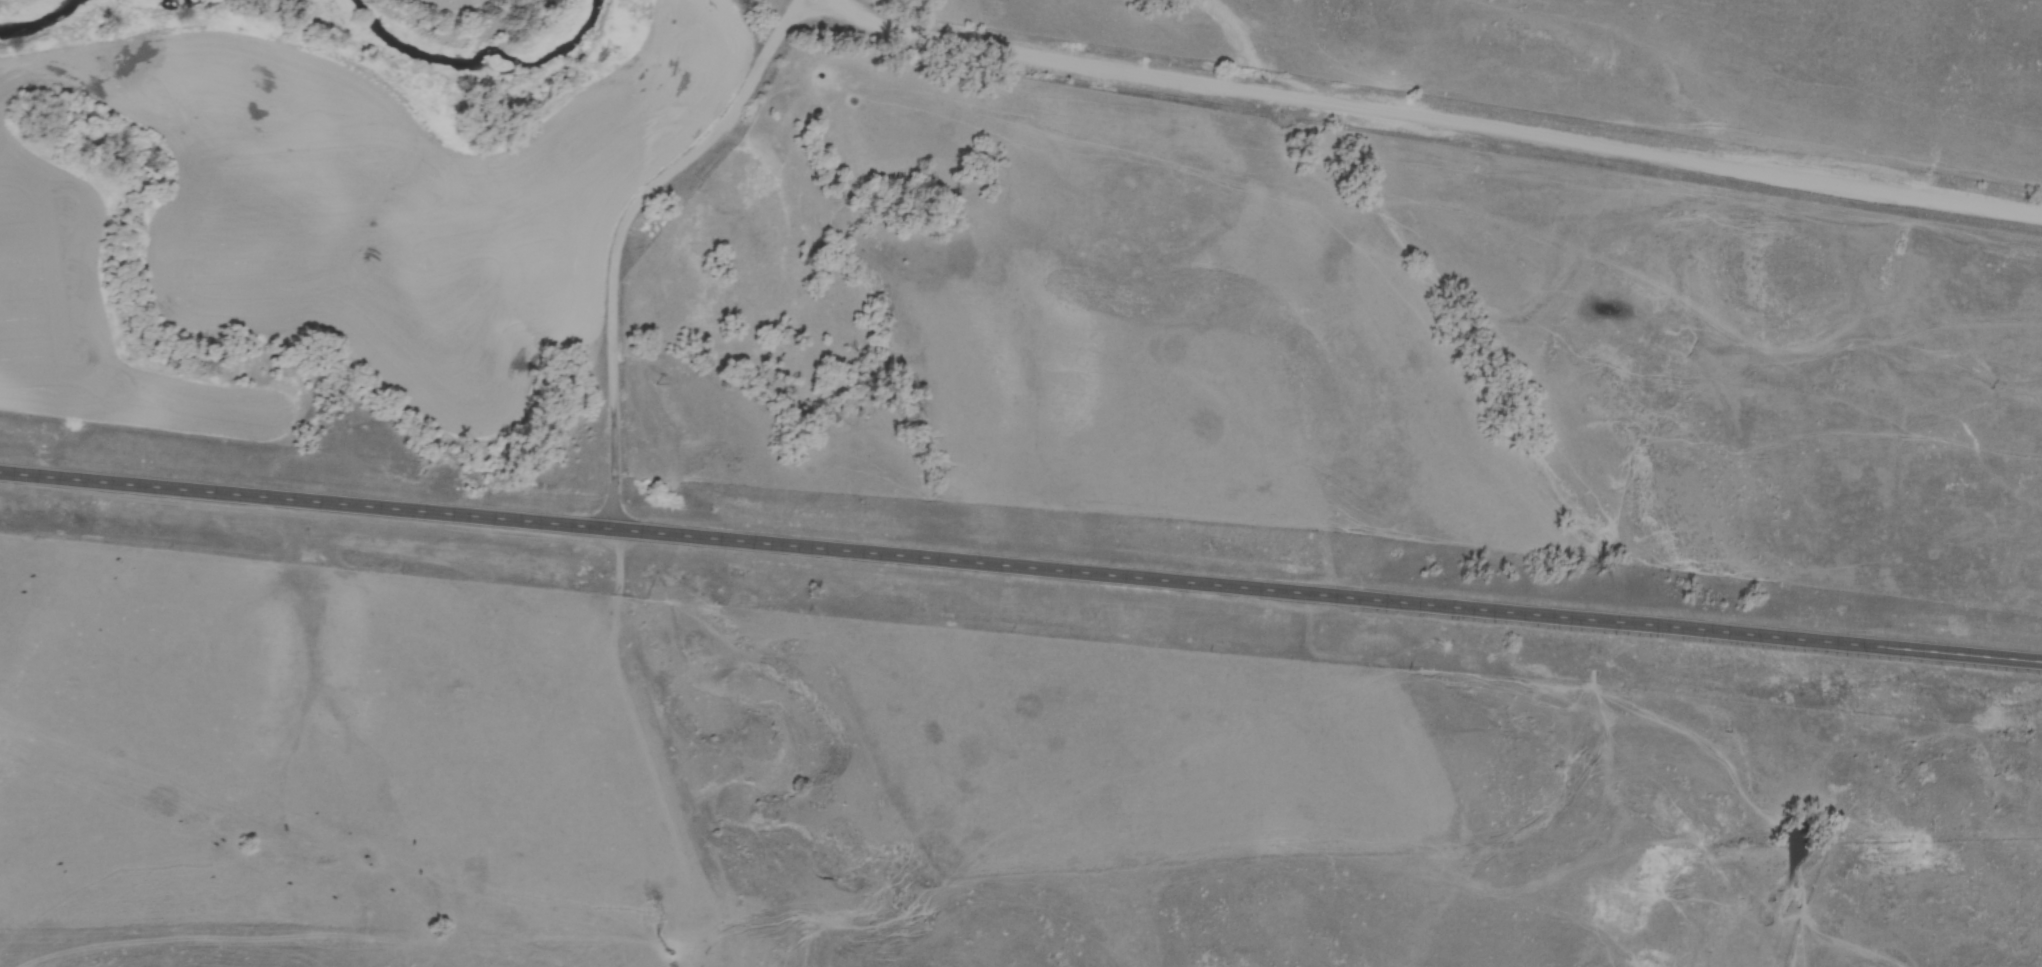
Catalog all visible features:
road: (1424, 118)
road: (625, 225)
road: (1021, 563)

